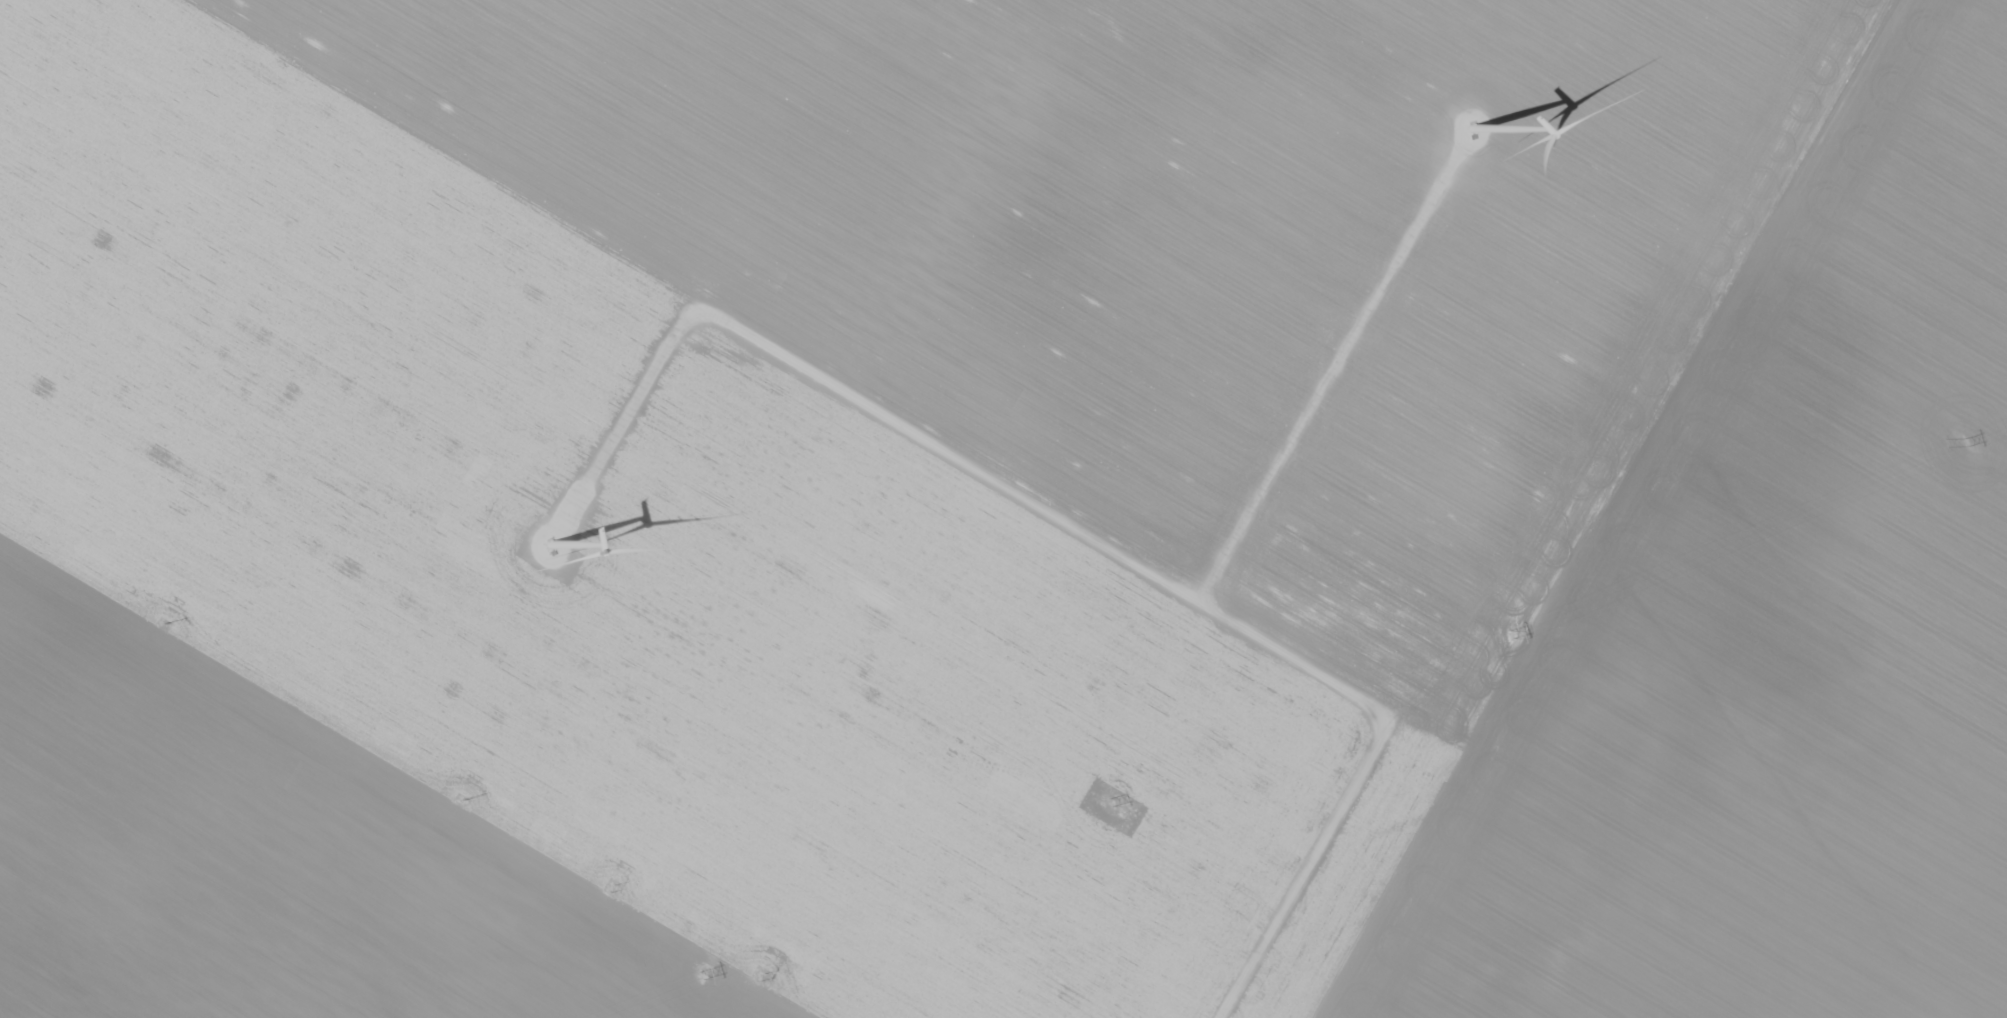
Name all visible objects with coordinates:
wind turbine: (1473, 130)
road: (1330, 380)
power tower: (1965, 441)
road: (1086, 540)
wind turbine: (551, 544)
power tower: (164, 623)
power tower: (1508, 634)
power tower: (471, 798)
power tower: (1109, 800)
power tower: (615, 884)
power tower: (700, 975)
power tower: (764, 976)

